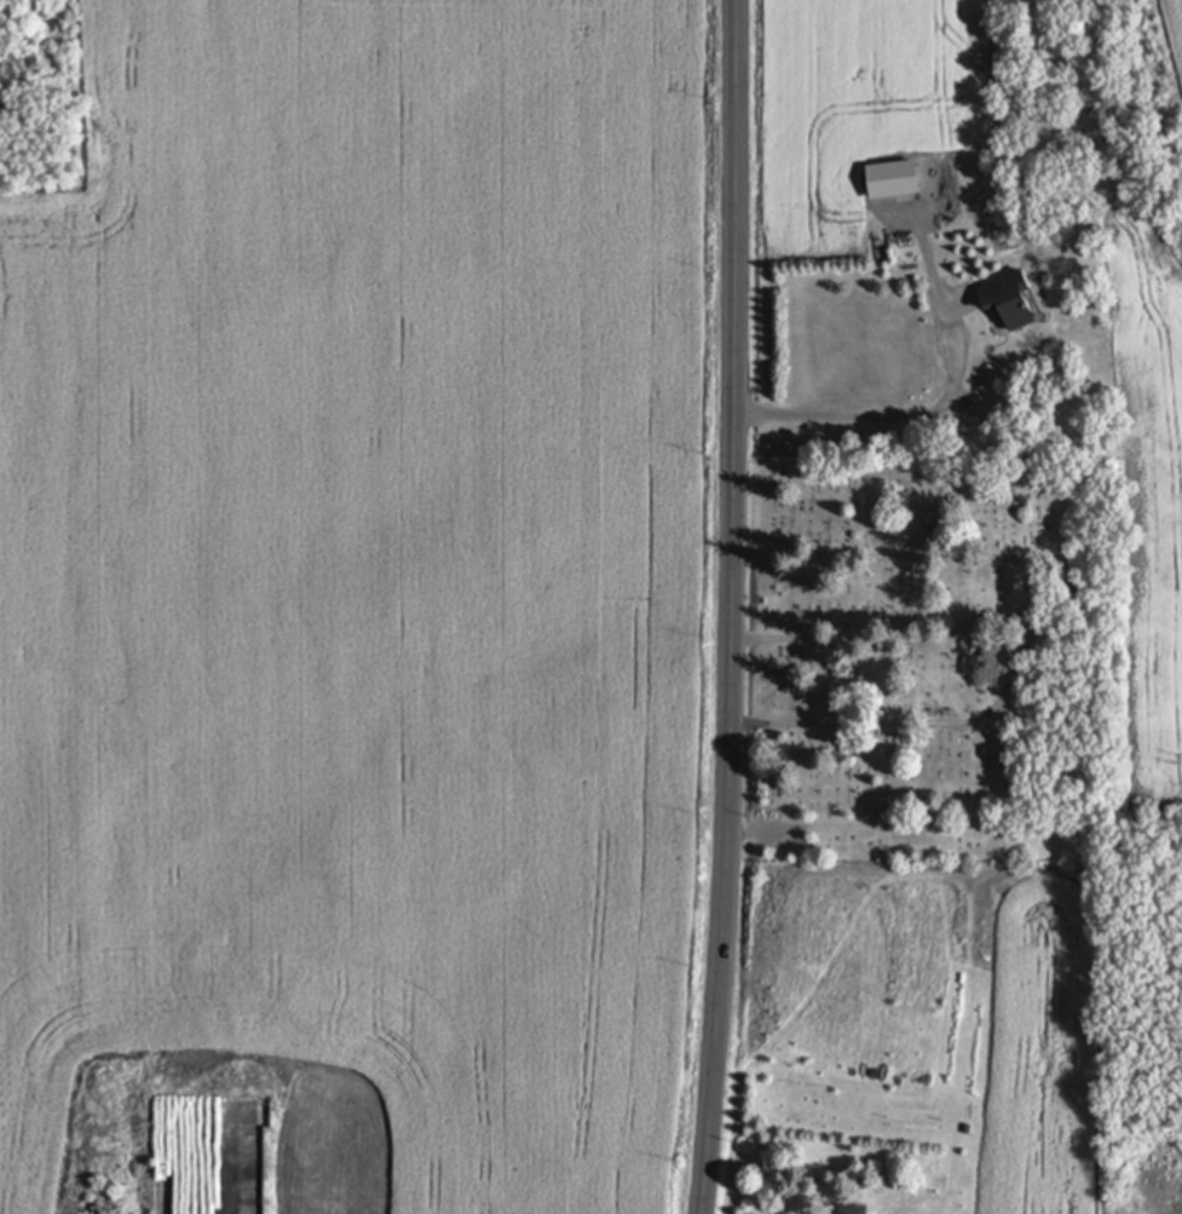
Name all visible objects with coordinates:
building: (926, 203)
building: (1010, 303)
road: (905, 420)
road: (737, 606)
road: (1051, 629)
park: (924, 664)
building: (852, 1209)

